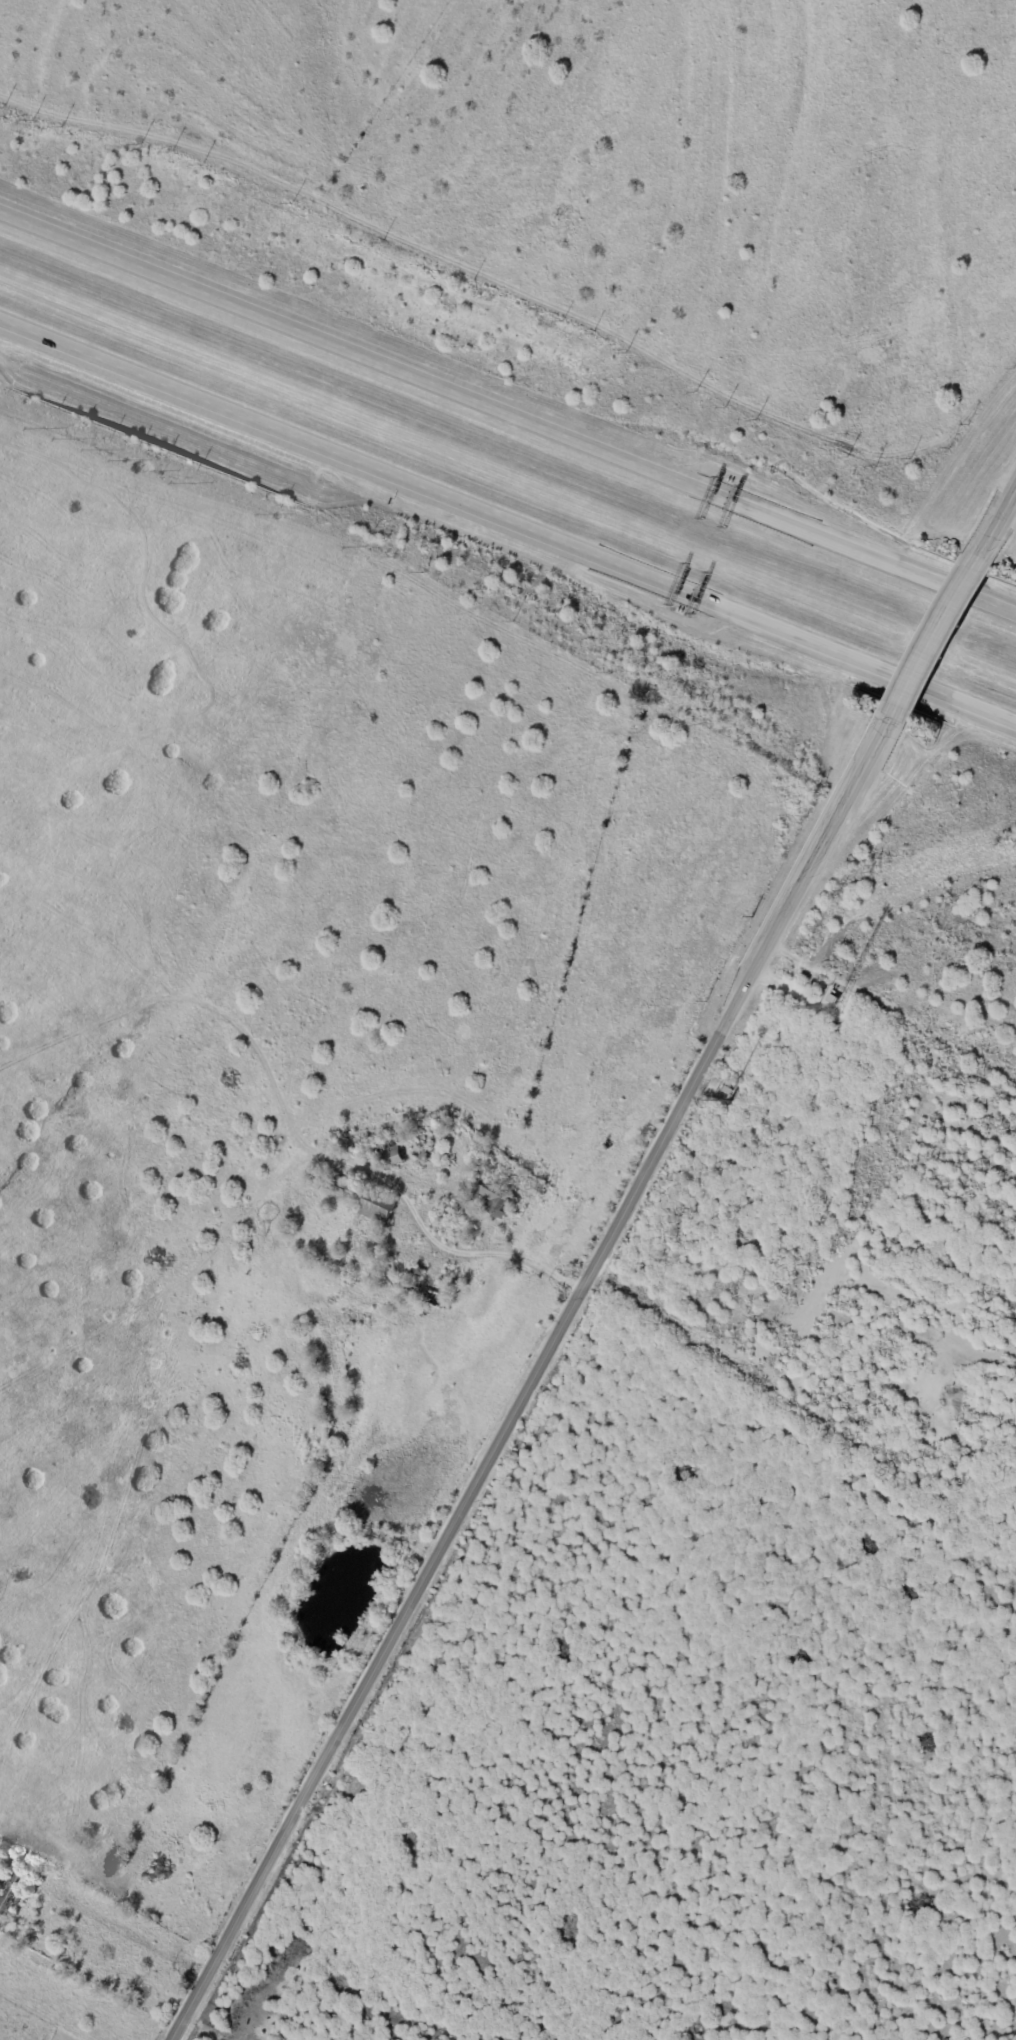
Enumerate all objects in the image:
road: (507, 414)
road: (996, 520)
road: (507, 525)
road: (931, 641)
building: (643, 707)
building: (835, 998)
road: (891, 1014)
building: (728, 1089)
building: (897, 1089)
building: (392, 1149)
building: (422, 1157)
building: (484, 1171)
building: (542, 1187)
building: (365, 1198)
building: (494, 1198)
road: (443, 1243)
building: (418, 1273)
building: (435, 1295)
road: (528, 1383)
building: (333, 1453)
building: (416, 1713)
building: (14, 1889)

